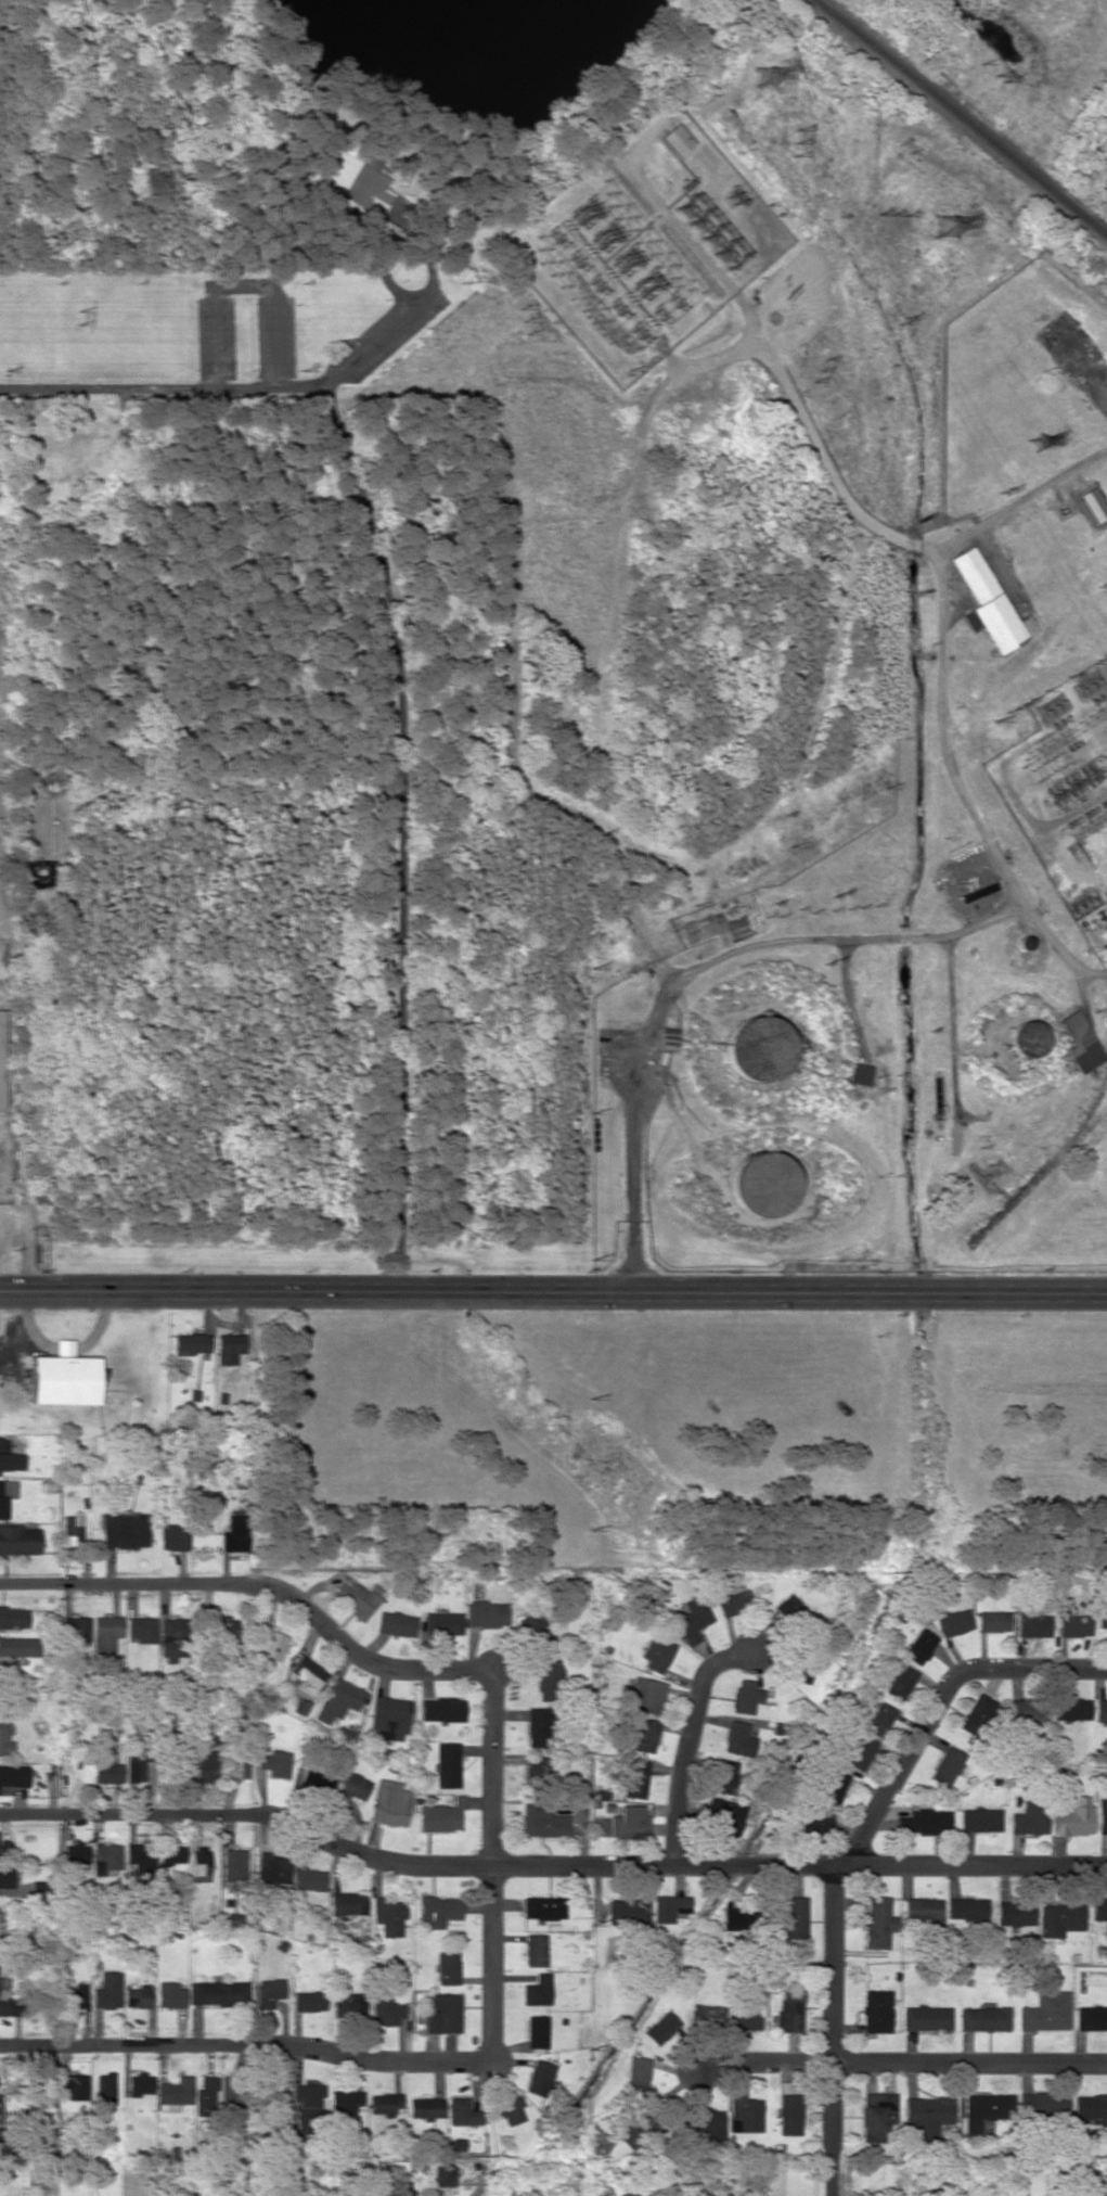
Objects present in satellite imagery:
power tower: (768, 77)
power tower: (1002, 80)
railway: (962, 120)
building: (674, 140)
power tower: (797, 143)
building: (352, 176)
power tower: (891, 217)
power tower: (950, 228)
power substation: (645, 241)
power tower: (77, 317)
power tower: (903, 322)
power tower: (523, 323)
road: (809, 432)
power tower: (1038, 444)
power tower: (1004, 491)
building: (1093, 503)
building: (990, 603)
power tower: (1103, 656)
road: (384, 676)
power substation: (1059, 765)
road: (960, 787)
road: (692, 971)
building: (666, 1036)
building: (1028, 1038)
building: (1080, 1042)
building: (759, 1048)
building: (1, 1067)
building: (860, 1073)
building: (762, 1184)
road: (553, 1291)
building: (190, 1343)
building: (228, 1348)
building: (62, 1377)
building: (11, 1460)
building: (5, 1494)
building: (72, 1527)
building: (124, 1530)
building: (234, 1534)
building: (172, 1537)
building: (18, 1540)
building: (355, 1598)
building: (732, 1604)
building: (789, 1608)
building: (486, 1613)
building: (1102, 1616)
building: (691, 1620)
building: (1031, 1620)
building: (992, 1621)
building: (953, 1622)
building: (396, 1623)
building: (442, 1623)
building: (1073, 1625)
building: (222, 1626)
building: (75, 1629)
building: (141, 1629)
building: (532, 1631)
building: (105, 1632)
building: (170, 1639)
building: (271, 1643)
building: (18, 1646)
building: (919, 1646)
building: (656, 1655)
road: (432, 1668)
building: (307, 1671)
building: (549, 1680)
building: (900, 1682)
building: (644, 1695)
building: (746, 1696)
building: (337, 1700)
building: (441, 1709)
building: (1070, 1709)
building: (1100, 1709)
building: (1020, 1710)
building: (976, 1713)
building: (880, 1715)
building: (388, 1718)
building: (537, 1726)
building: (646, 1735)
building: (4, 1738)
building: (737, 1739)
road: (685, 1744)
building: (854, 1751)
building: (274, 1763)
building: (237, 1764)
building: (447, 1764)
building: (206, 1765)
building: (945, 1765)
building: (134, 1766)
building: (105, 1769)
building: (536, 1770)
building: (724, 1776)
building: (13, 1777)
building: (636, 1778)
building: (314, 1780)
building: (833, 1786)
building: (352, 1787)
building: (390, 1803)
building: (441, 1815)
building: (723, 1815)
building: (1073, 1816)
building: (1102, 1816)
building: (542, 1820)
building: (979, 1820)
building: (1029, 1820)
building: (924, 1821)
building: (629, 1822)
building: (814, 1822)
road: (849, 1847)
building: (0, 1849)
building: (75, 1852)
building: (171, 1854)
building: (106, 1856)
building: (140, 1859)
building: (199, 1865)
building: (234, 1865)
road: (550, 1865)
building: (274, 1867)
building: (5, 1876)
building: (309, 1879)
building: (348, 1903)
building: (668, 1906)
building: (543, 1907)
building: (921, 1907)
building: (966, 1907)
building: (438, 1910)
building: (1100, 1910)
building: (629, 1911)
building: (1015, 1914)
building: (388, 1915)
building: (793, 1916)
building: (741, 1917)
building: (1059, 1918)
building: (877, 1921)
building: (536, 1950)
building: (447, 1968)
building: (107, 1990)
building: (537, 1990)
building: (270, 1991)
building: (218, 1992)
building: (170, 1994)
building: (75, 1996)
building: (137, 1996)
building: (308, 2001)
building: (348, 2002)
building: (9, 2005)
building: (788, 2009)
building: (386, 2010)
building: (876, 2010)
building: (1045, 2012)
building: (442, 2014)
building: (708, 2016)
building: (743, 2016)
building: (926, 2017)
building: (1091, 2017)
building: (983, 2018)
building: (661, 2028)
building: (537, 2031)
road: (246, 2042)
road: (899, 2060)
building: (639, 2072)
building: (540, 2078)
building: (139, 2083)
building: (73, 2084)
building: (175, 2091)
building: (206, 2095)
building: (311, 2095)
building: (346, 2101)
building: (1043, 2103)
building: (386, 2104)
building: (426, 2107)
building: (509, 2108)
building: (789, 2108)
building: (1091, 2108)
building: (984, 2109)
building: (462, 2111)
building: (744, 2111)
building: (37, 2115)
building: (875, 2115)
building: (927, 2115)
building: (706, 2123)
building: (638, 2125)
building: (443, 2175)
building: (401, 2188)

